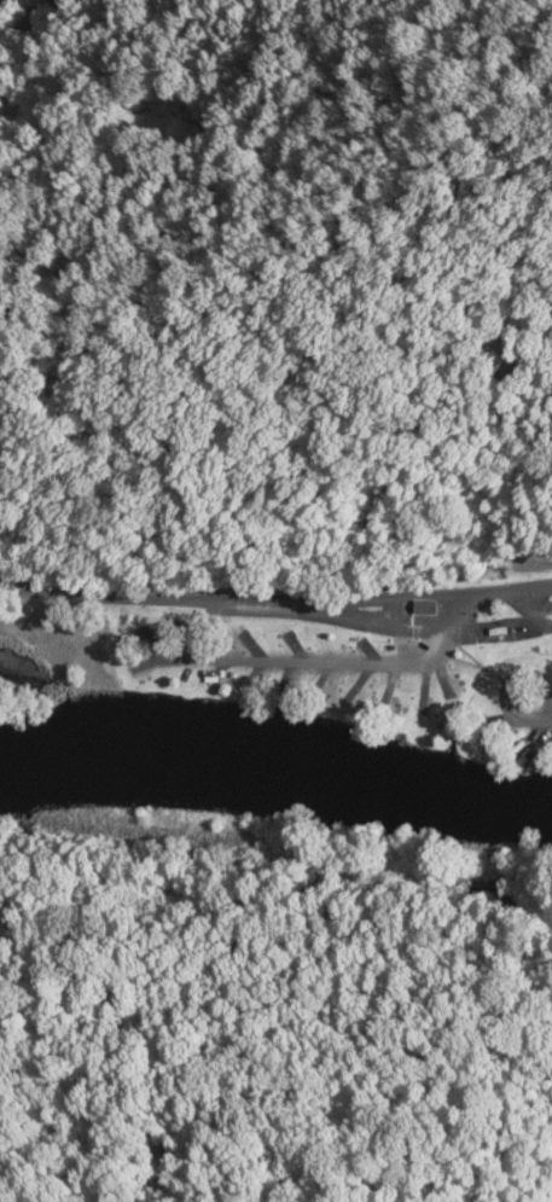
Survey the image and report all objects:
road: (19, 23)
road: (513, 592)
road: (133, 596)
road: (370, 596)
building: (423, 606)
road: (371, 608)
building: (499, 629)
road: (323, 661)
road: (539, 699)
river: (277, 761)

